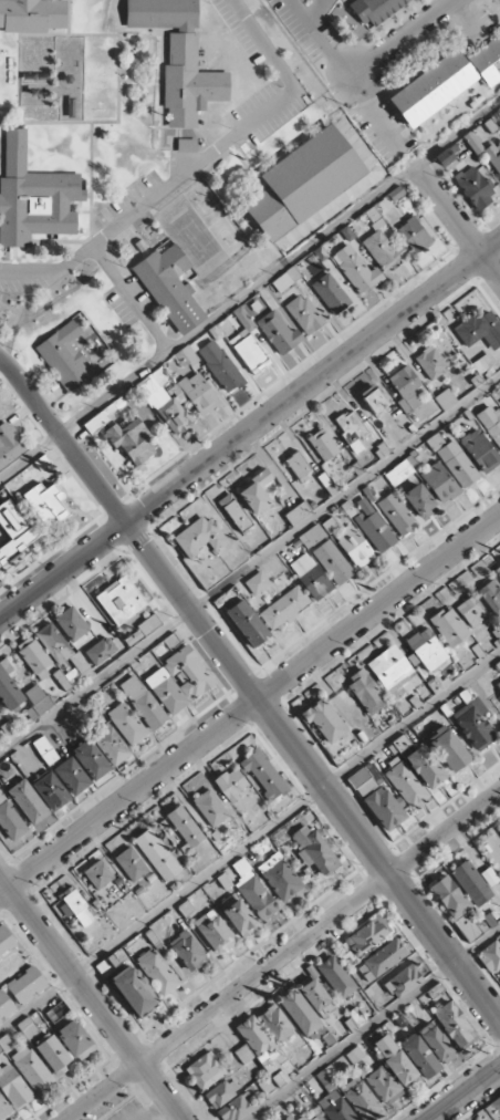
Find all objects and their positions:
road: (319, 10)
building: (376, 10)
building: (162, 14)
building: (32, 15)
road: (326, 38)
road: (405, 38)
building: (488, 62)
building: (189, 83)
building: (433, 89)
building: (473, 143)
building: (187, 145)
building: (494, 156)
building: (445, 157)
road: (198, 162)
building: (303, 182)
building: (473, 187)
building: (34, 197)
road: (458, 221)
building: (414, 235)
building: (383, 250)
building: (355, 269)
building: (285, 279)
building: (170, 288)
road: (250, 290)
building: (330, 293)
road: (129, 298)
building: (304, 314)
building: (480, 329)
building: (278, 332)
building: (246, 341)
building: (187, 355)
building: (64, 356)
building: (430, 362)
building: (482, 363)
building: (220, 366)
building: (405, 387)
building: (196, 393)
building: (373, 398)
building: (445, 400)
building: (164, 404)
building: (96, 422)
building: (491, 422)
building: (351, 429)
road: (249, 432)
building: (131, 440)
building: (435, 442)
building: (10, 444)
building: (323, 445)
building: (480, 450)
building: (457, 464)
building: (299, 466)
building: (398, 473)
building: (439, 483)
building: (254, 491)
building: (419, 501)
building: (45, 502)
building: (235, 512)
building: (298, 514)
building: (396, 514)
building: (373, 526)
building: (319, 531)
building: (14, 532)
building: (199, 536)
building: (354, 547)
building: (333, 561)
road: (250, 566)
building: (498, 570)
building: (310, 577)
building: (257, 583)
building: (490, 595)
building: (121, 600)
building: (284, 608)
building: (469, 611)
building: (71, 623)
building: (248, 623)
building: (149, 624)
building: (448, 626)
building: (133, 637)
building: (171, 641)
building: (62, 650)
building: (426, 650)
building: (101, 651)
building: (34, 657)
building: (389, 668)
building: (498, 684)
road: (250, 688)
building: (166, 691)
building: (9, 692)
building: (365, 693)
building: (37, 702)
building: (142, 702)
road: (249, 706)
building: (324, 720)
building: (126, 724)
building: (473, 724)
building: (402, 743)
building: (110, 745)
building: (448, 748)
building: (44, 750)
building: (91, 759)
building: (425, 767)
building: (263, 775)
building: (72, 776)
building: (366, 779)
building: (405, 782)
building: (230, 784)
building: (51, 791)
building: (28, 801)
building: (384, 807)
building: (209, 808)
building: (10, 820)
building: (183, 826)
road: (249, 842)
building: (314, 850)
building: (156, 854)
building: (129, 863)
building: (97, 874)
building: (280, 877)
building: (471, 883)
building: (253, 892)
building: (449, 896)
building: (75, 906)
building: (185, 909)
building: (237, 915)
building: (471, 925)
building: (213, 932)
building: (367, 935)
building: (6, 941)
building: (188, 951)
road: (283, 956)
building: (491, 958)
building: (382, 960)
building: (107, 965)
building: (157, 971)
building: (335, 977)
building: (404, 982)
building: (27, 985)
building: (133, 992)
building: (315, 996)
road: (92, 997)
building: (6, 1006)
building: (300, 1012)
building: (275, 1024)
road: (374, 1024)
building: (455, 1025)
building: (28, 1027)
building: (75, 1040)
building: (436, 1043)
building: (52, 1052)
building: (243, 1054)
building: (264, 1054)
building: (354, 1055)
building: (419, 1056)
building: (394, 1059)
building: (31, 1068)
building: (206, 1070)
building: (325, 1080)
building: (315, 1085)
building: (384, 1085)
building: (13, 1086)
building: (221, 1092)
road: (465, 1093)
building: (360, 1098)
building: (335, 1107)
building: (236, 1108)
building: (3, 1109)
building: (490, 1111)
building: (312, 1116)
building: (288, 1118)

